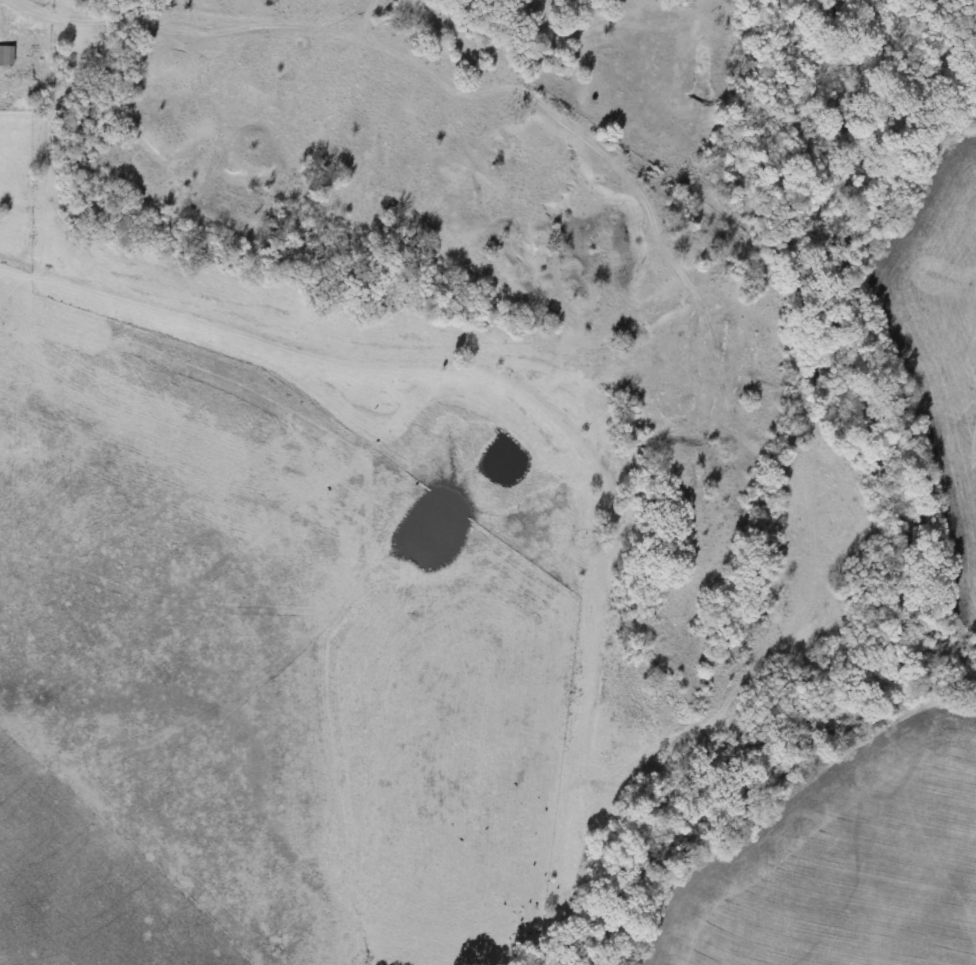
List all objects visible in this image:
building: (6, 56)

